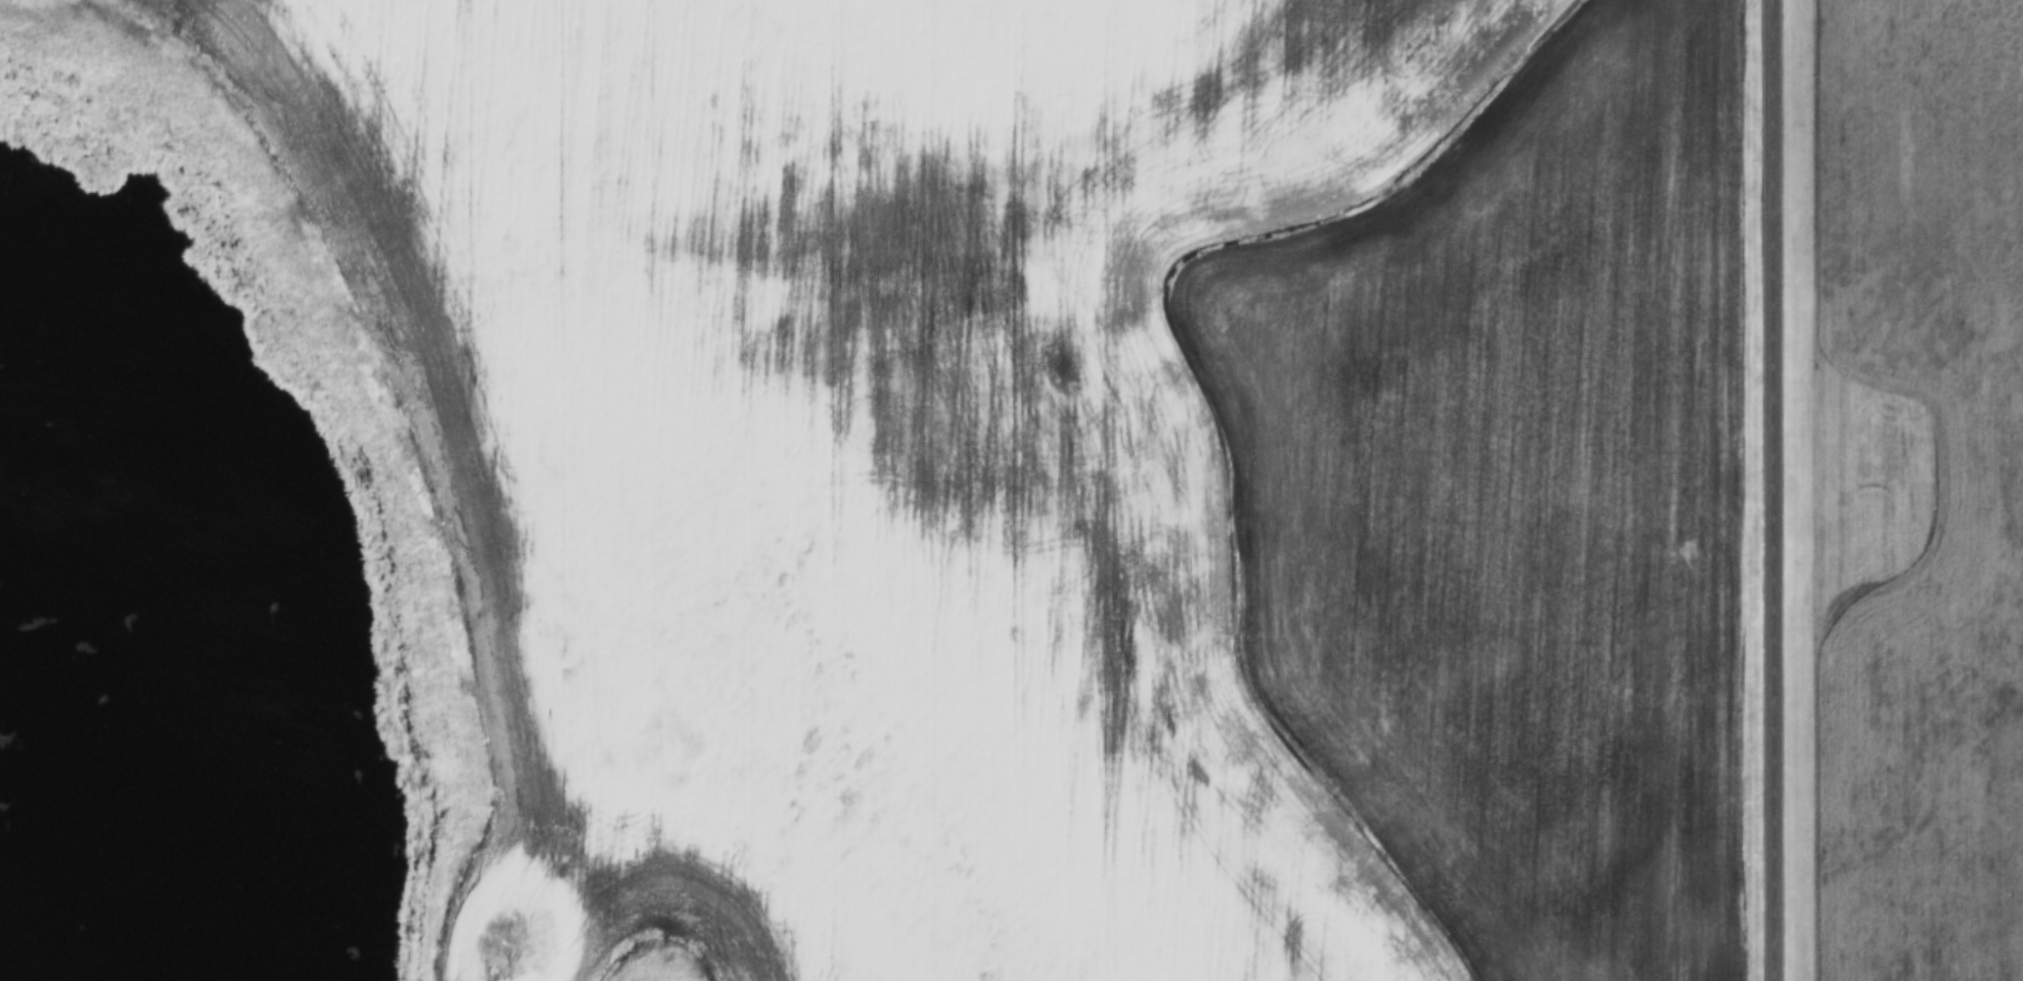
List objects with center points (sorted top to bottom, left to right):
road: (1772, 490)

